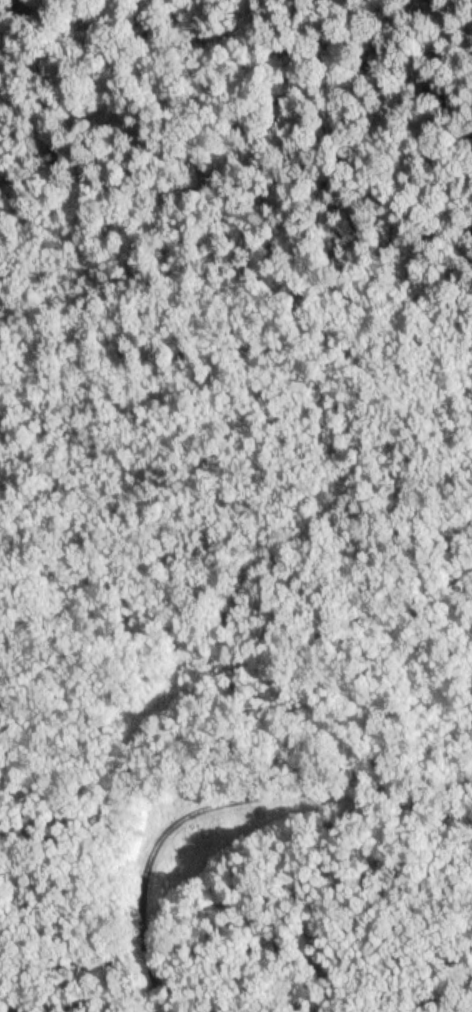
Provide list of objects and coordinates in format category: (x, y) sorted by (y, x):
road: (241, 219)
road: (225, 799)

